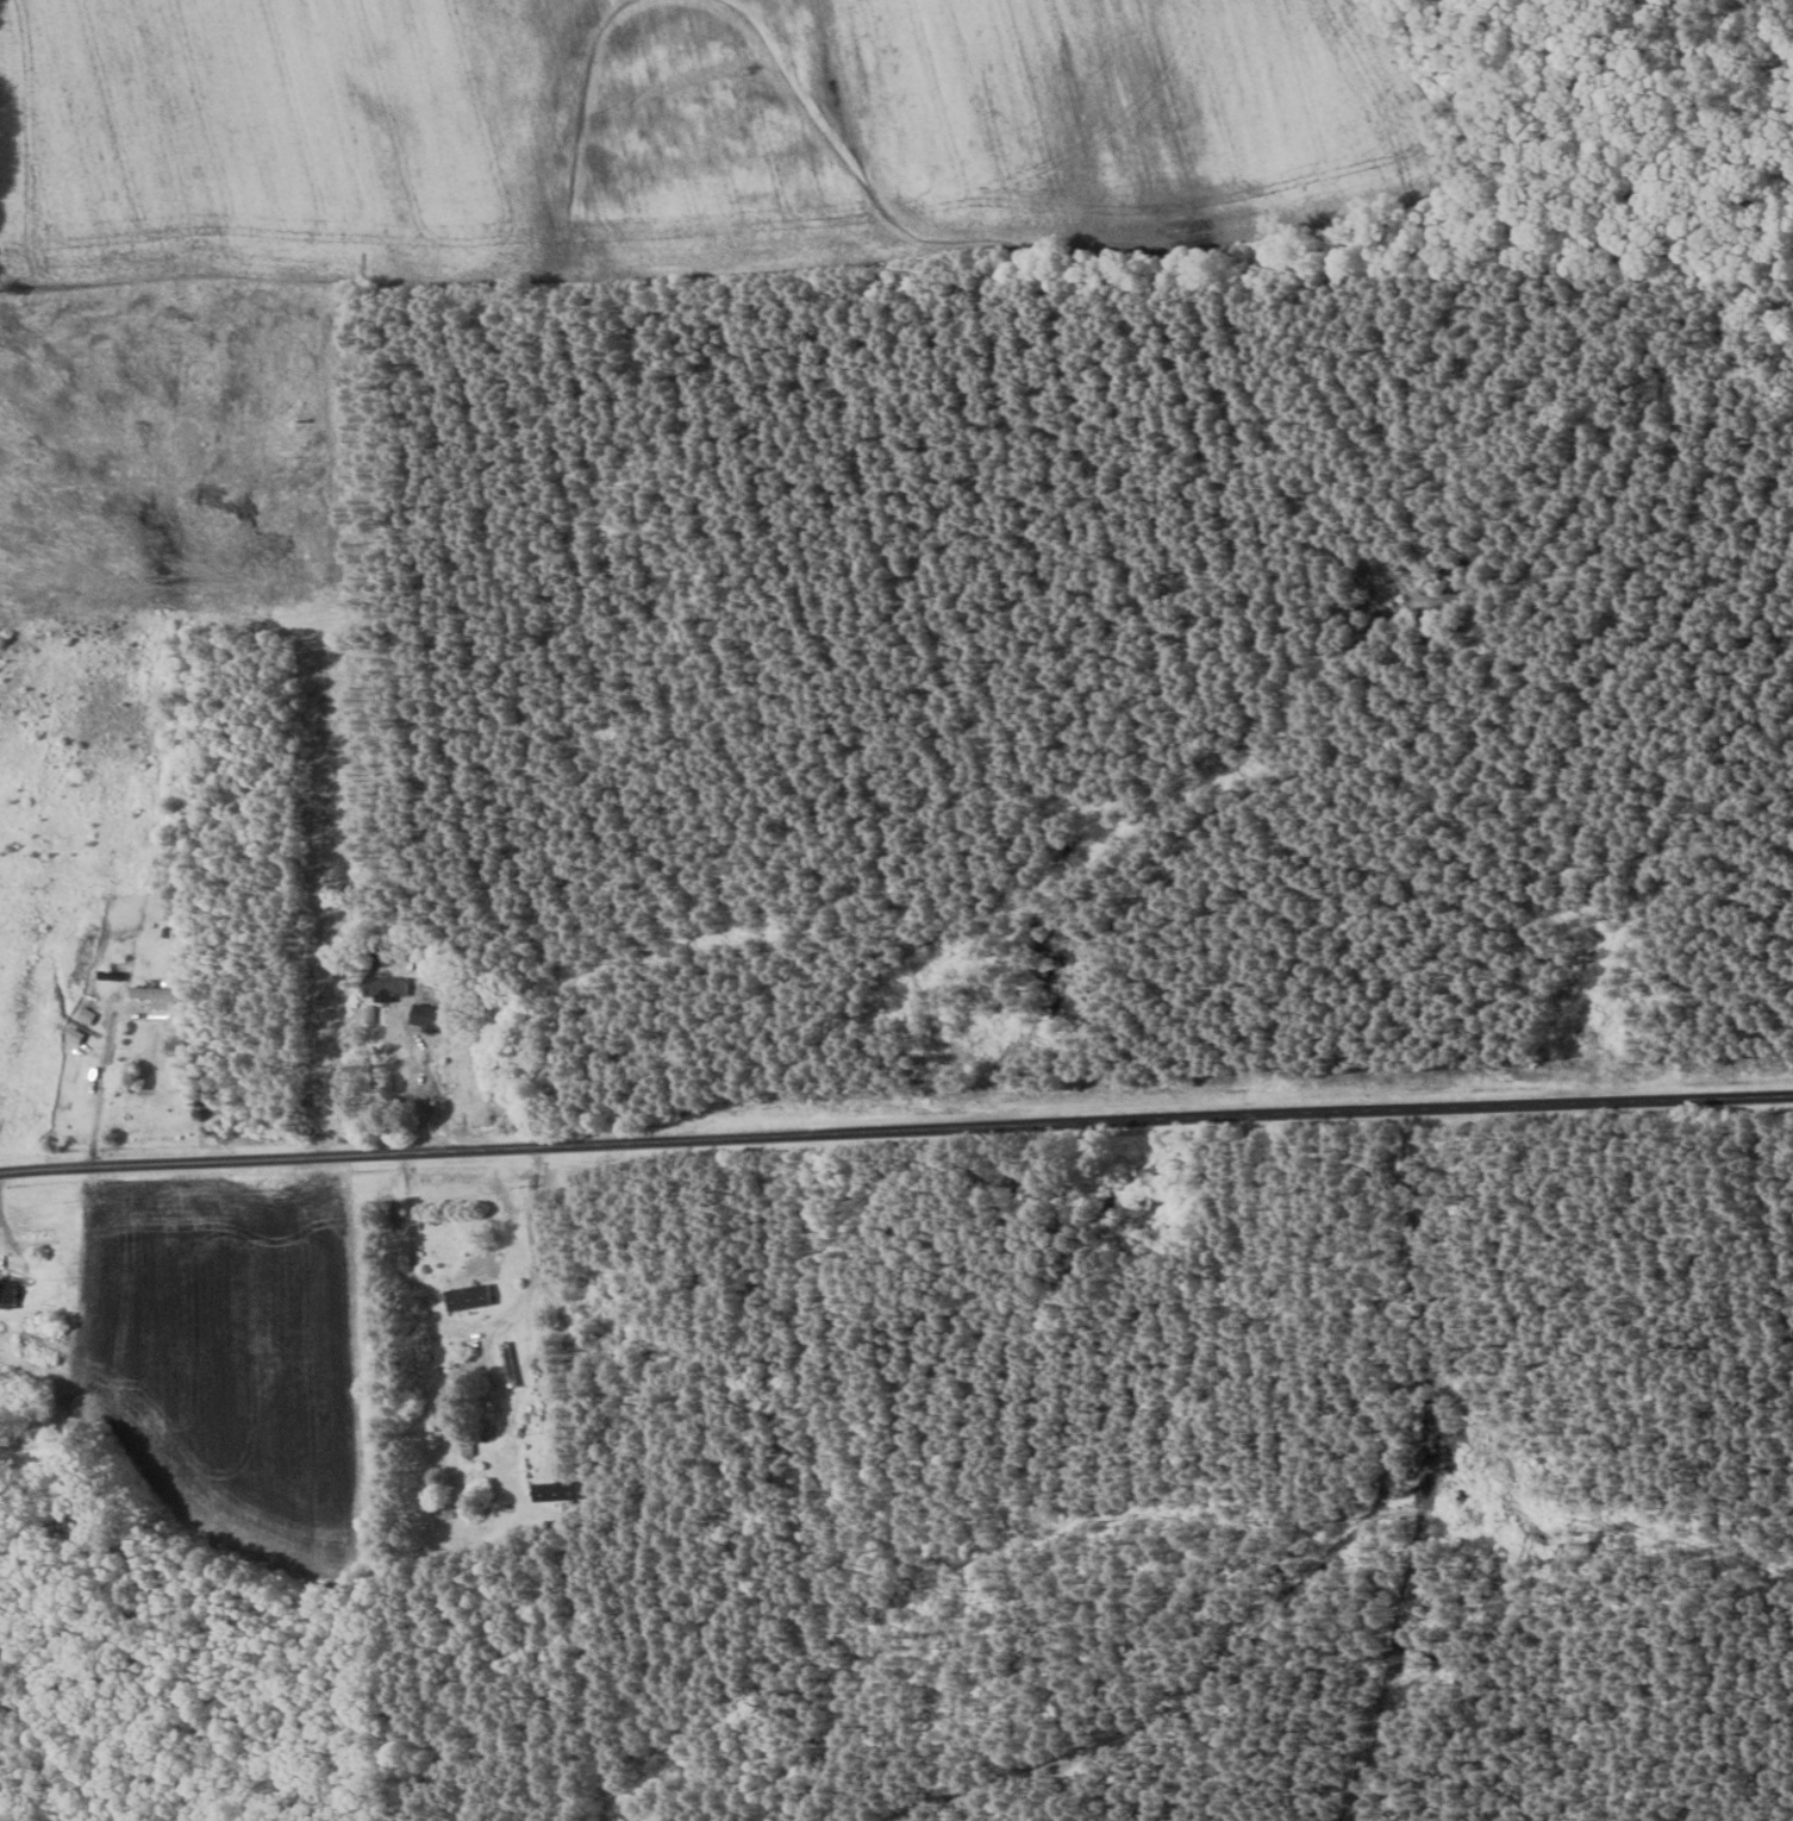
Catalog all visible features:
road: (895, 1135)
building: (468, 1295)

